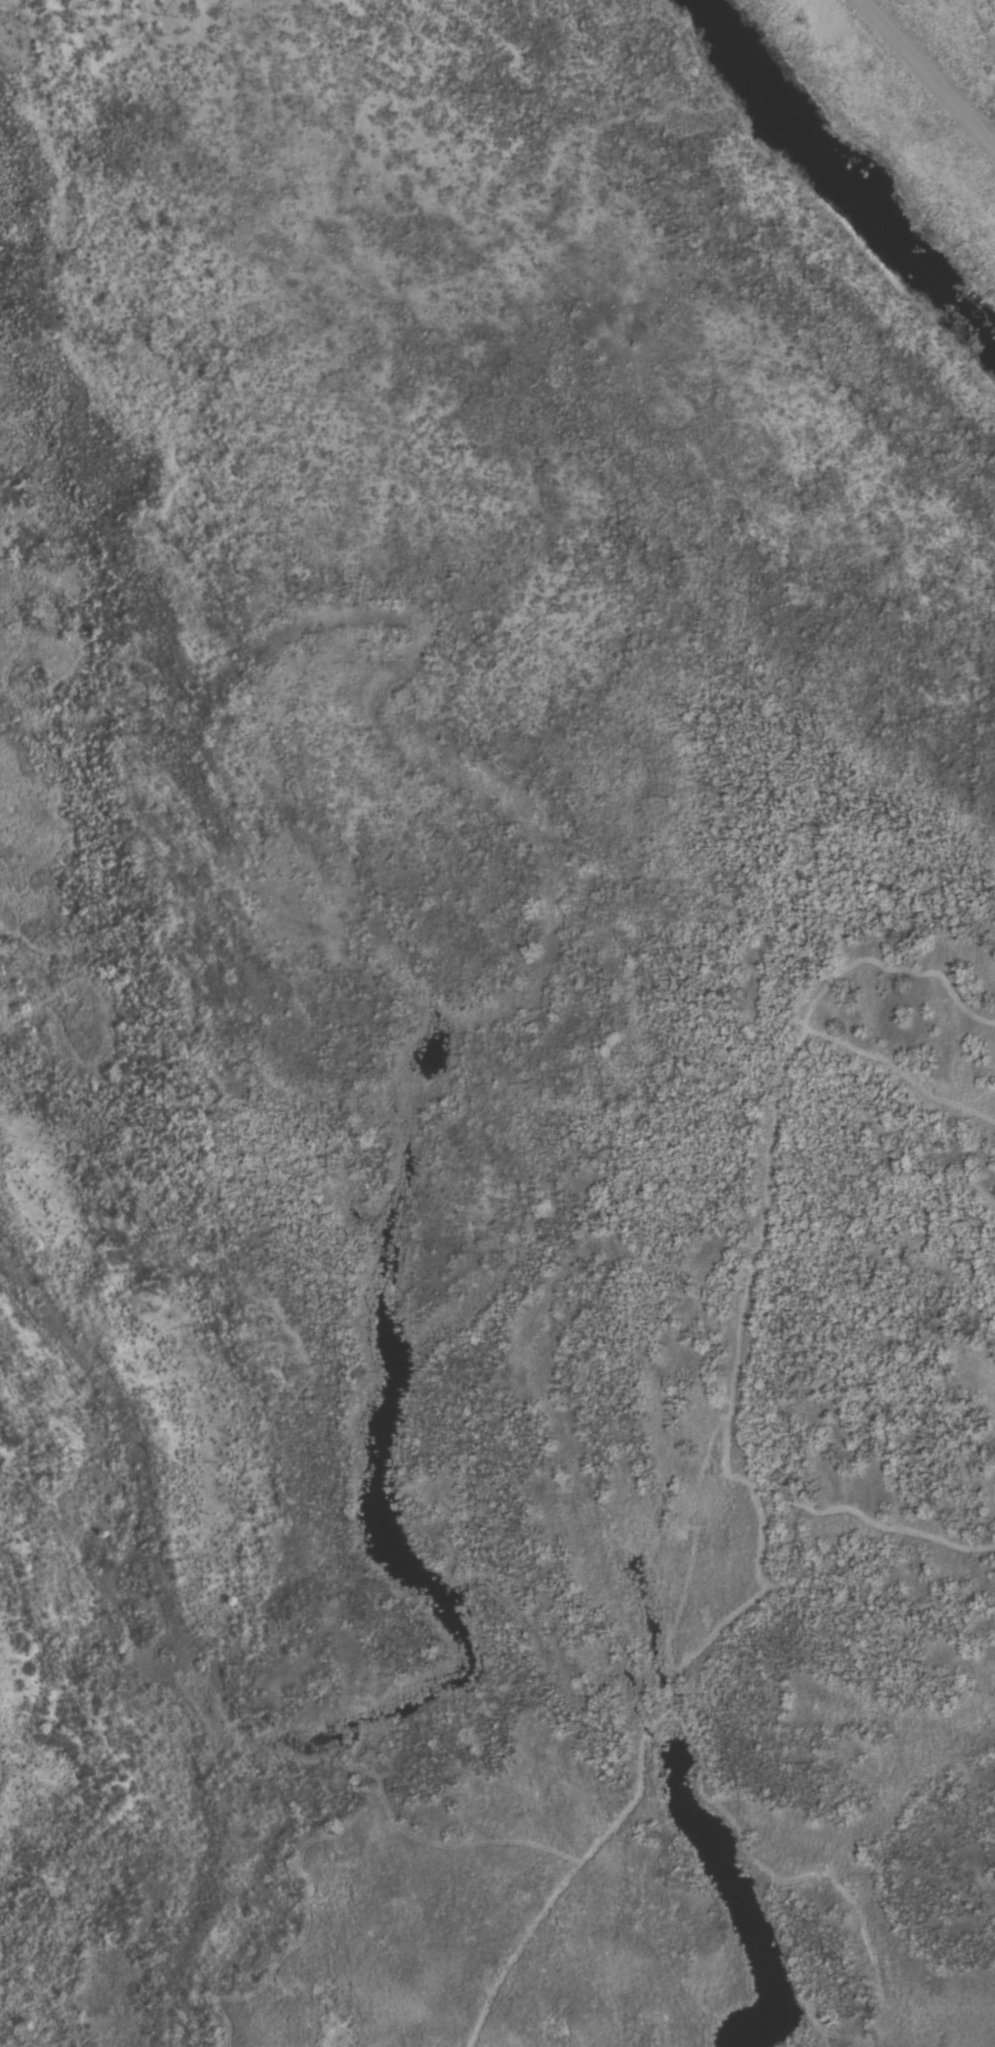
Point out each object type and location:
road: (928, 73)

